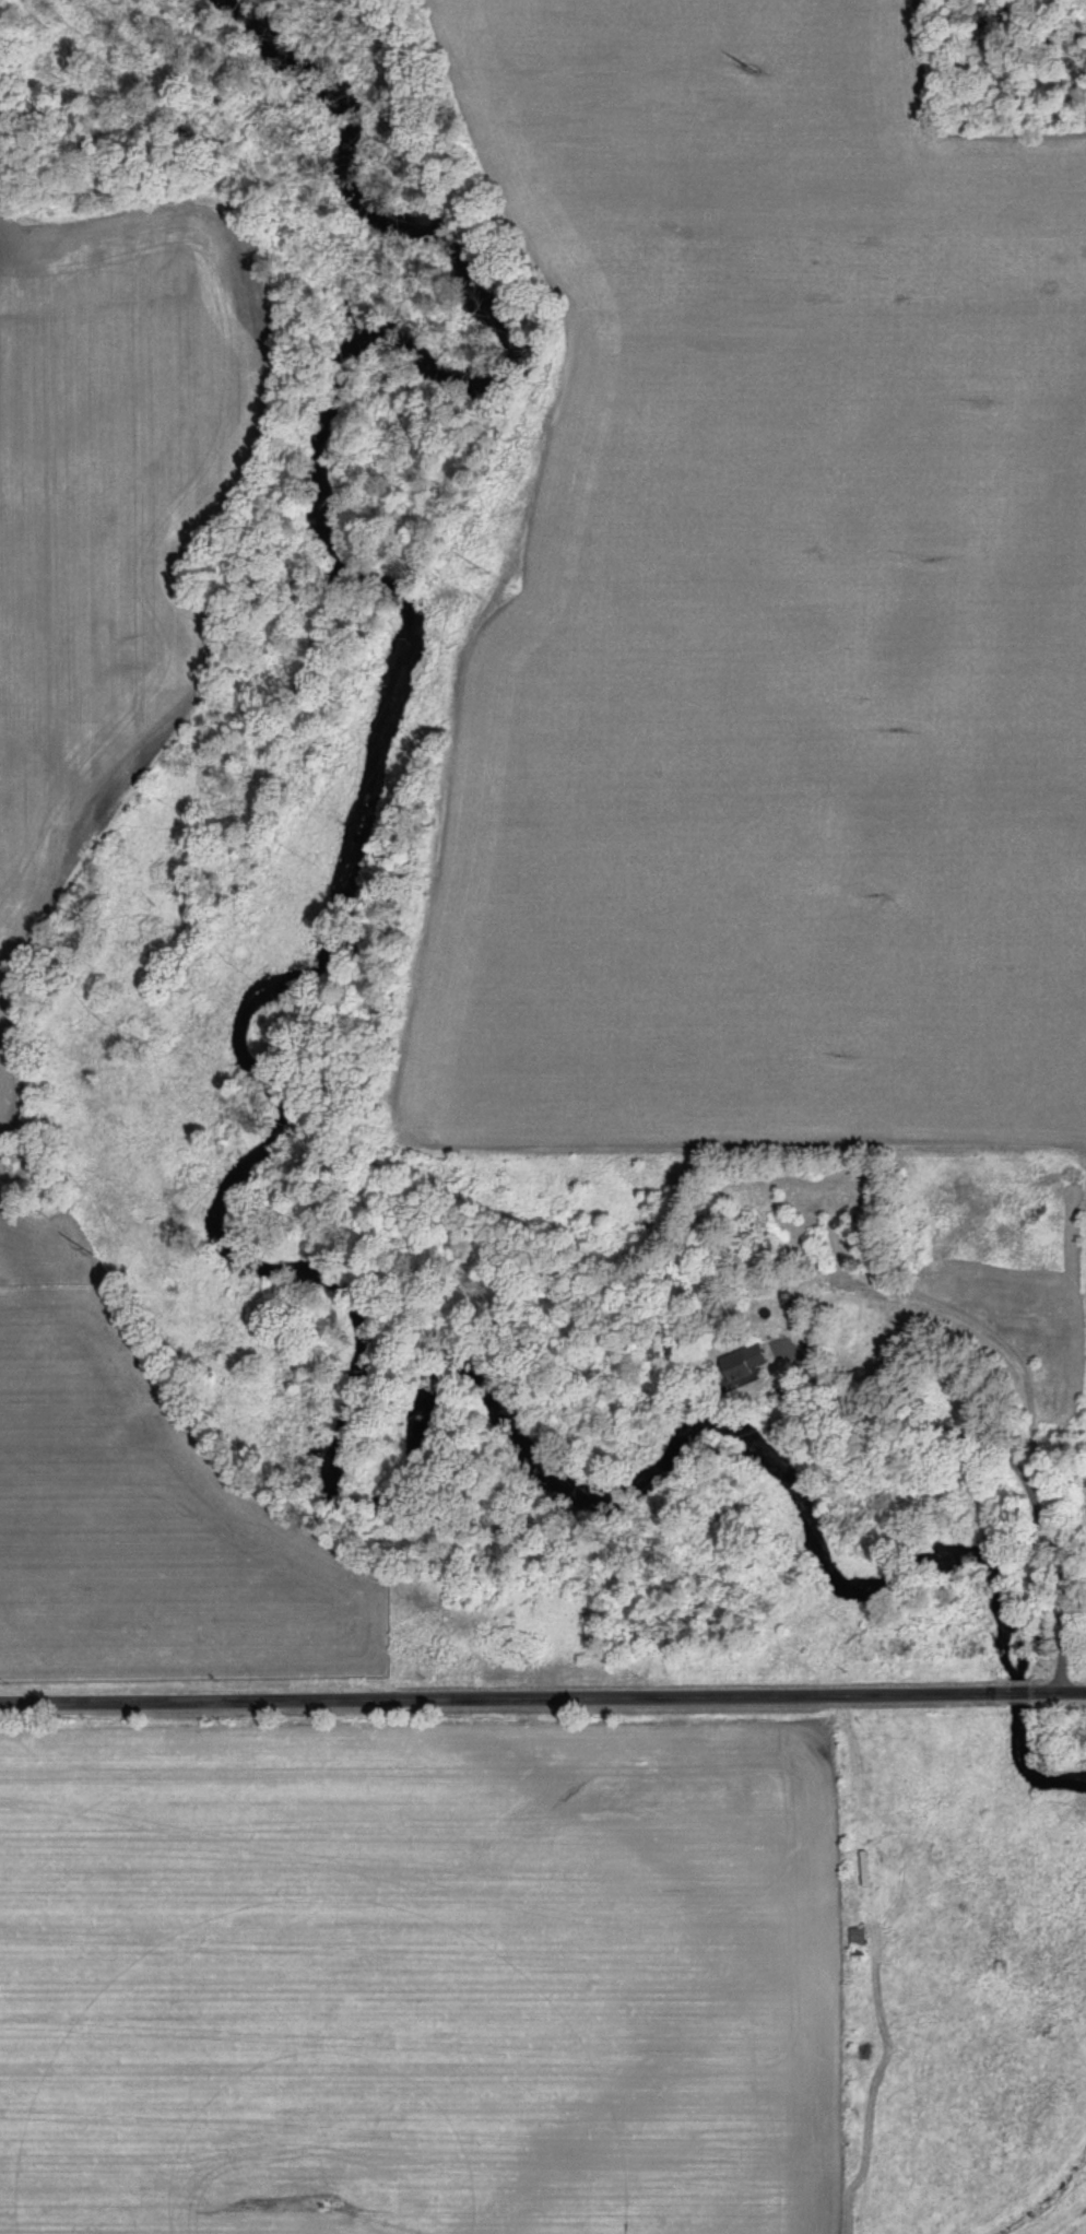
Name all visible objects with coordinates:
building: (751, 1356)
road: (1015, 1453)
road: (542, 1701)
building: (871, 1867)
building: (862, 1936)

